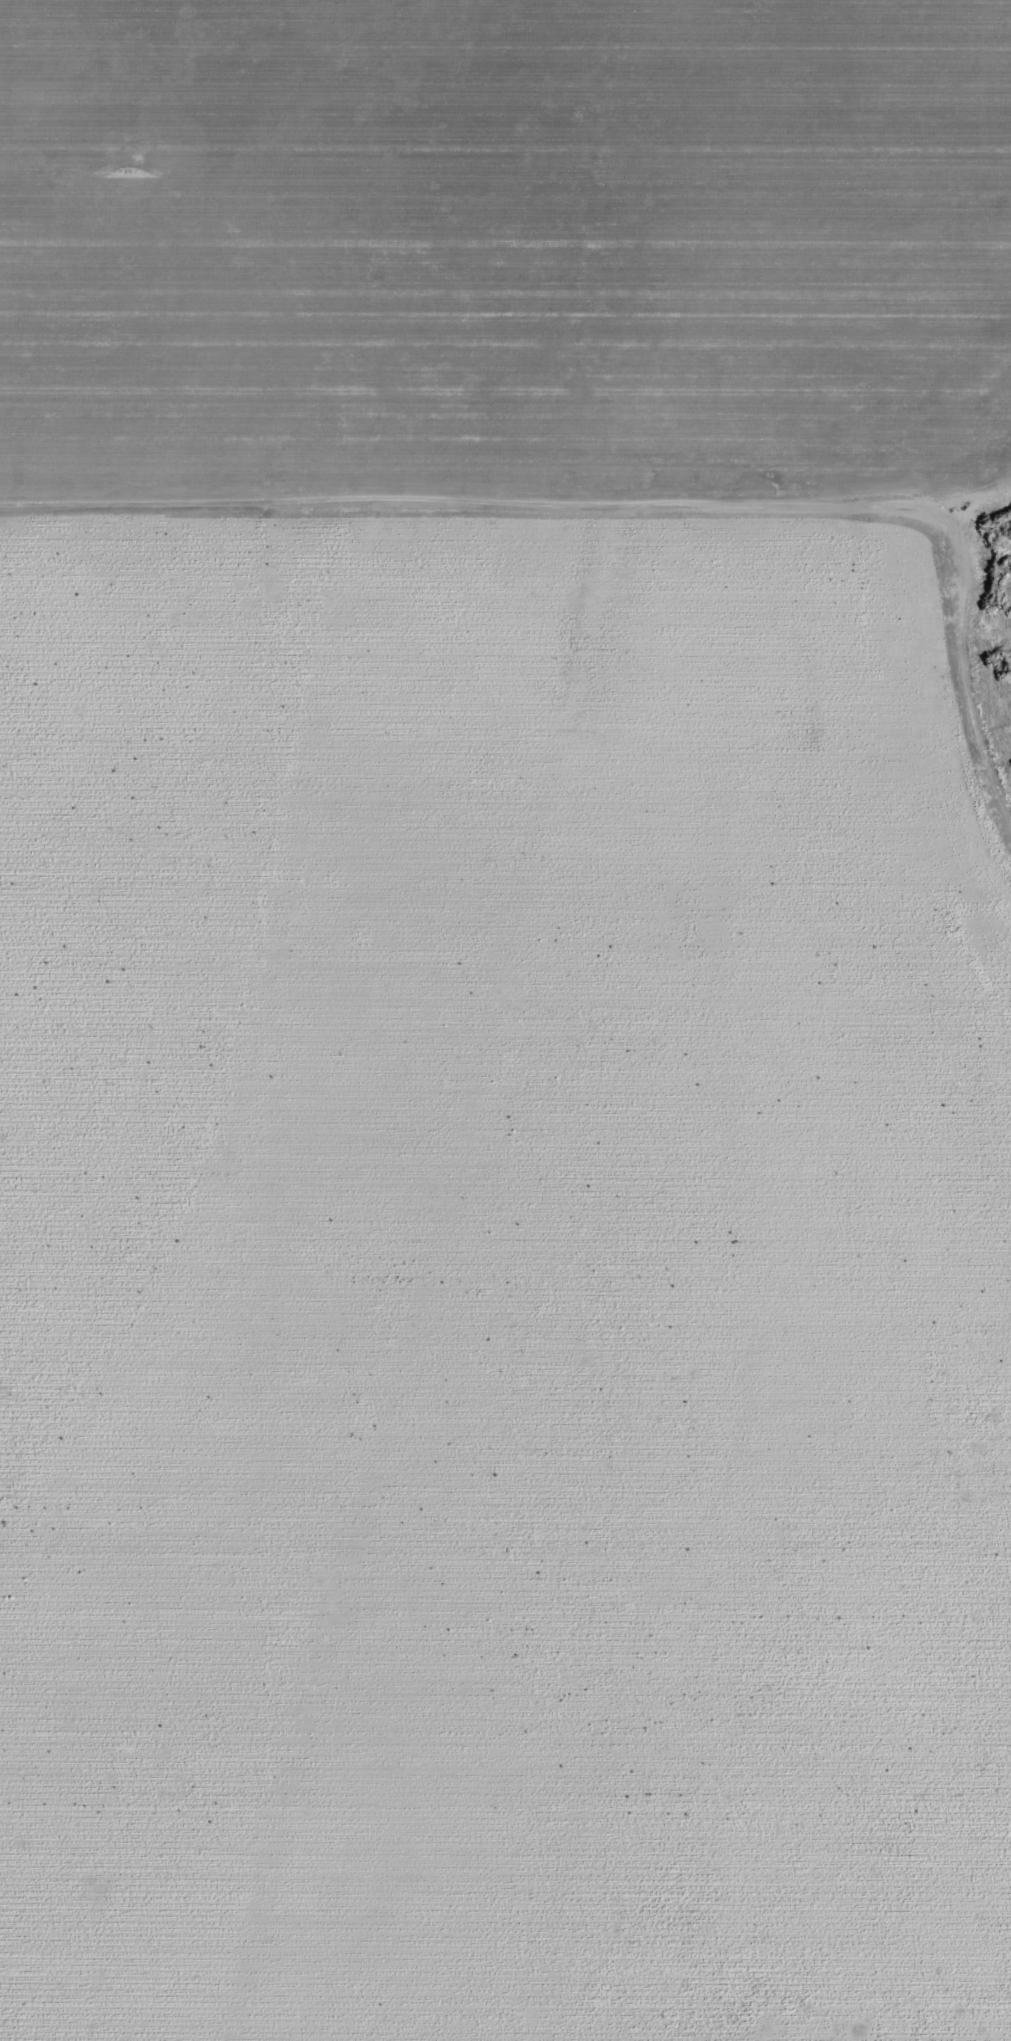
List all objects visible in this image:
road: (44, 174)

